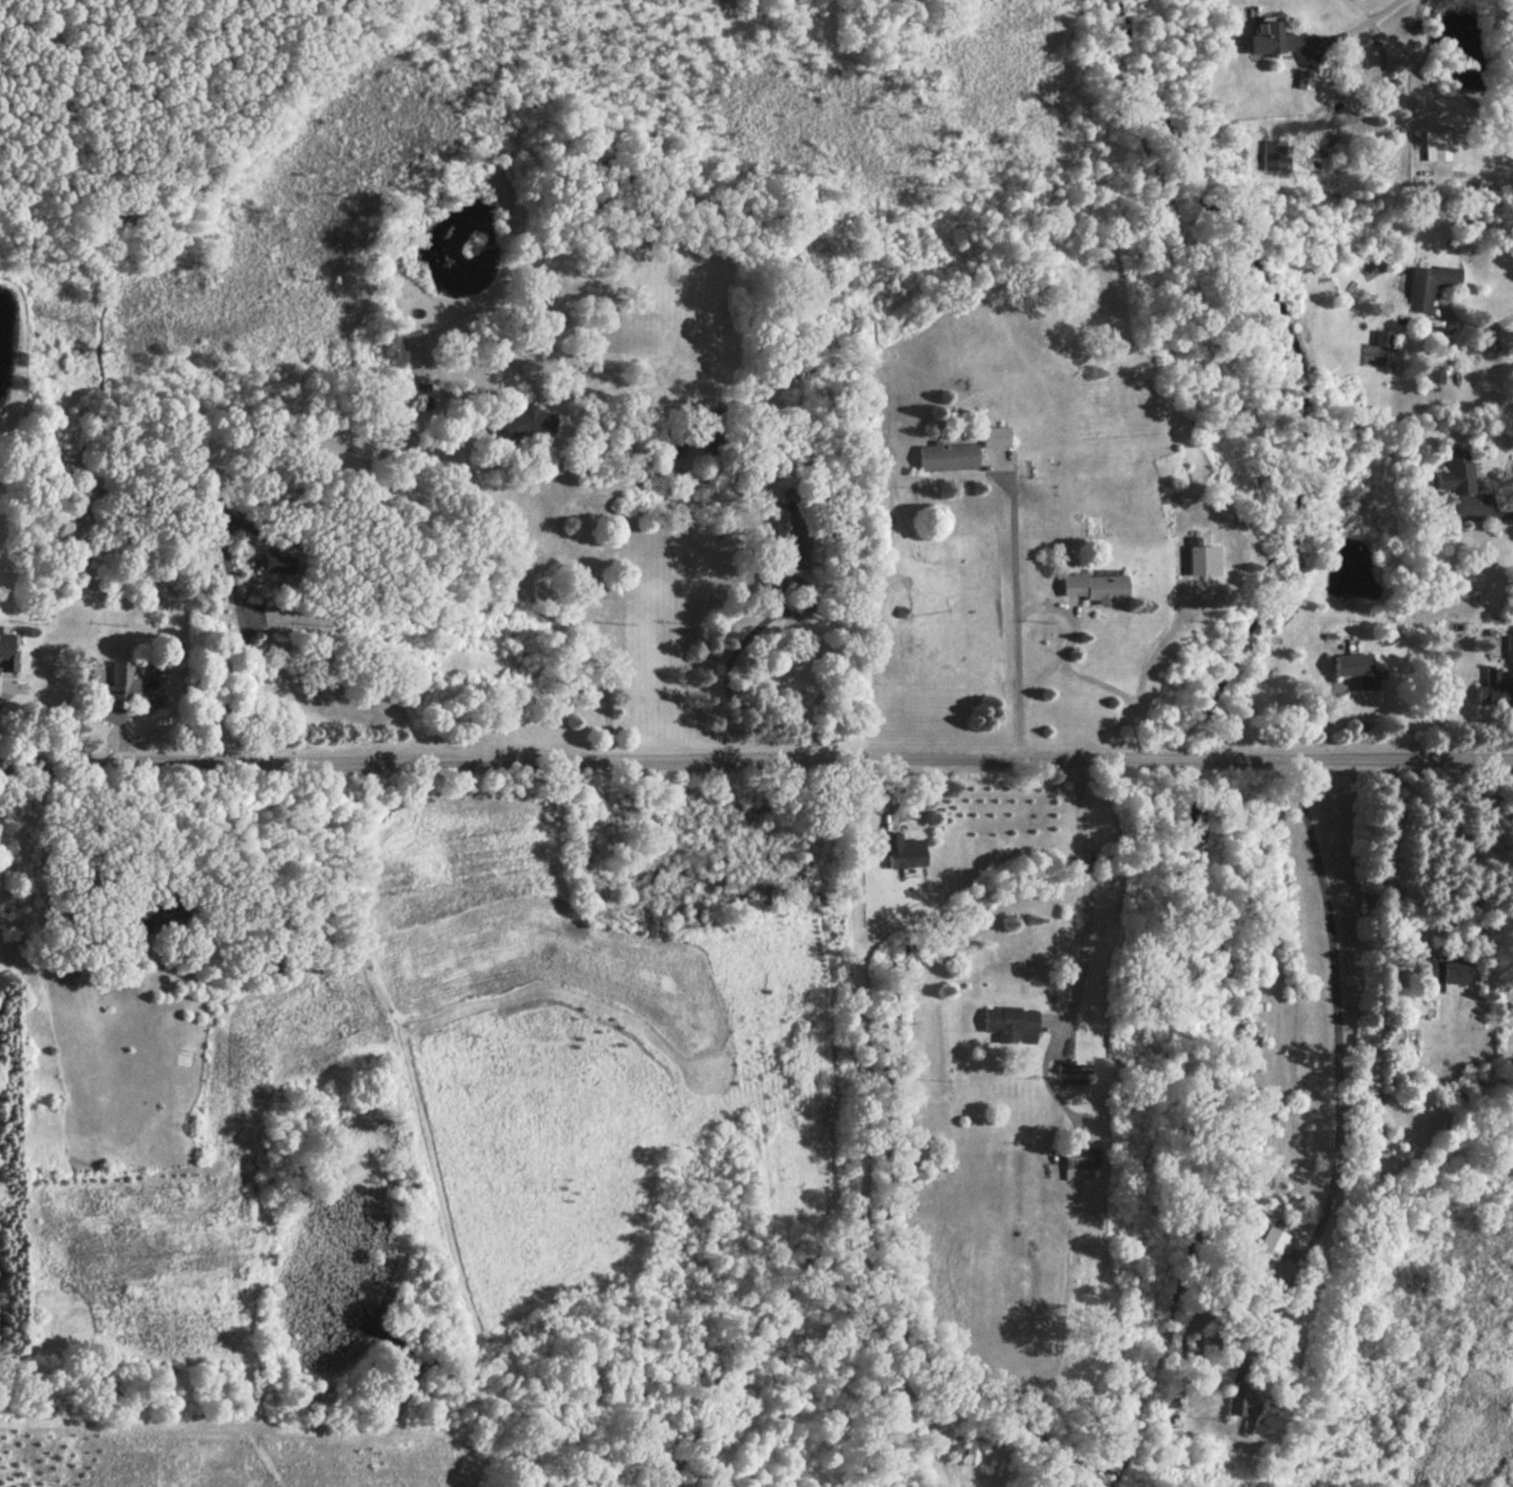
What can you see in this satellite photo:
road: (1360, 27)
building: (1267, 37)
building: (1303, 79)
building: (1435, 144)
building: (1273, 154)
building: (1427, 284)
building: (1382, 337)
road: (1481, 341)
building: (1436, 374)
building: (423, 395)
building: (527, 421)
building: (995, 435)
building: (675, 446)
building: (946, 455)
building: (1456, 469)
road: (1491, 526)
building: (794, 542)
building: (1203, 559)
building: (275, 562)
building: (1093, 585)
road: (536, 602)
road: (1016, 612)
building: (7, 647)
building: (1508, 648)
road: (248, 651)
building: (1356, 668)
road: (1105, 685)
building: (133, 686)
building: (1492, 689)
road: (6, 693)
road: (727, 693)
road: (756, 760)
road: (73, 845)
building: (903, 850)
road: (1388, 864)
road: (1087, 900)
building: (157, 912)
building: (1442, 972)
building: (1010, 1023)
road: (1335, 1061)
building: (1073, 1067)
building: (1079, 1161)
building: (1271, 1242)
building: (1233, 1405)
building: (1264, 1417)
building: (968, 1443)

